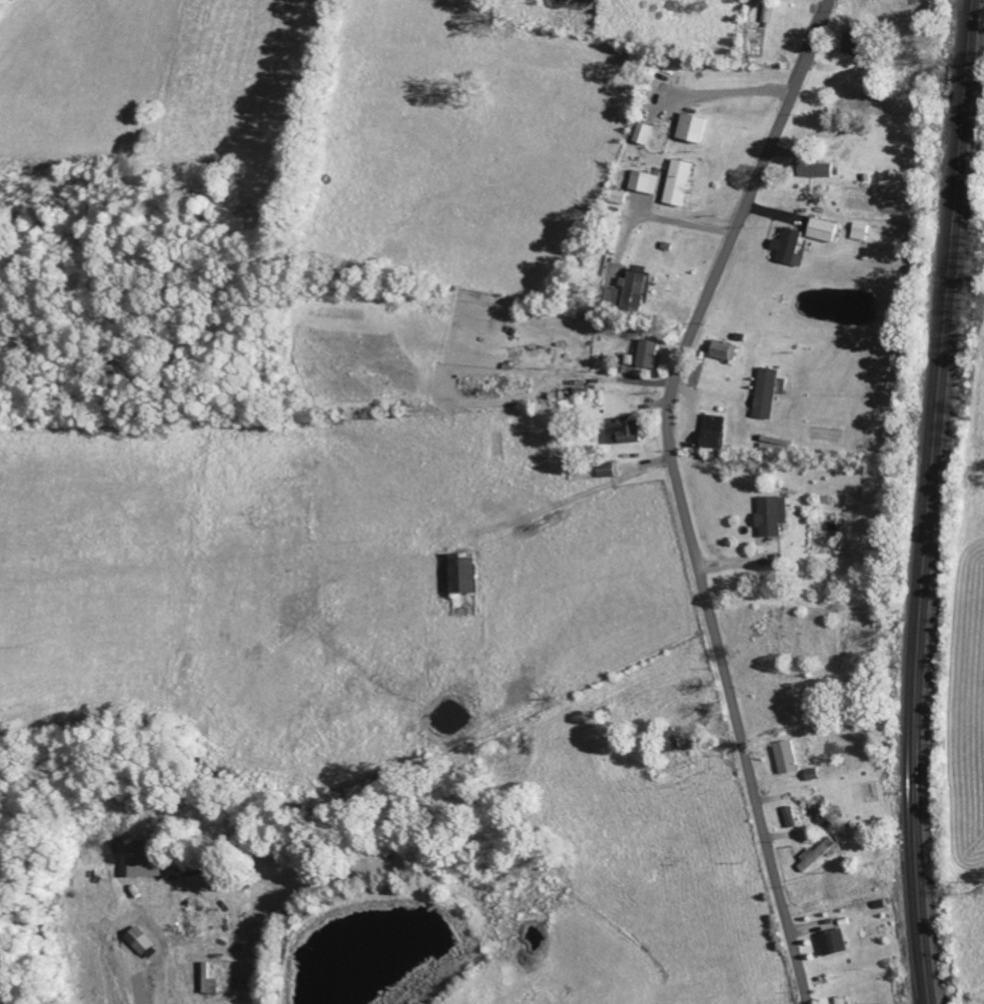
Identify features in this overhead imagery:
building: (690, 127)
building: (641, 132)
building: (810, 167)
building: (643, 181)
building: (677, 182)
building: (617, 196)
building: (820, 229)
building: (859, 231)
building: (788, 246)
building: (634, 290)
building: (611, 296)
building: (722, 350)
building: (648, 353)
building: (765, 393)
building: (621, 431)
building: (712, 431)
building: (605, 470)
road: (680, 494)
railway: (922, 501)
railway: (931, 501)
building: (769, 516)
building: (461, 573)
building: (784, 757)
building: (789, 816)
building: (816, 854)
building: (140, 861)
building: (831, 942)
building: (145, 946)
building: (208, 980)

